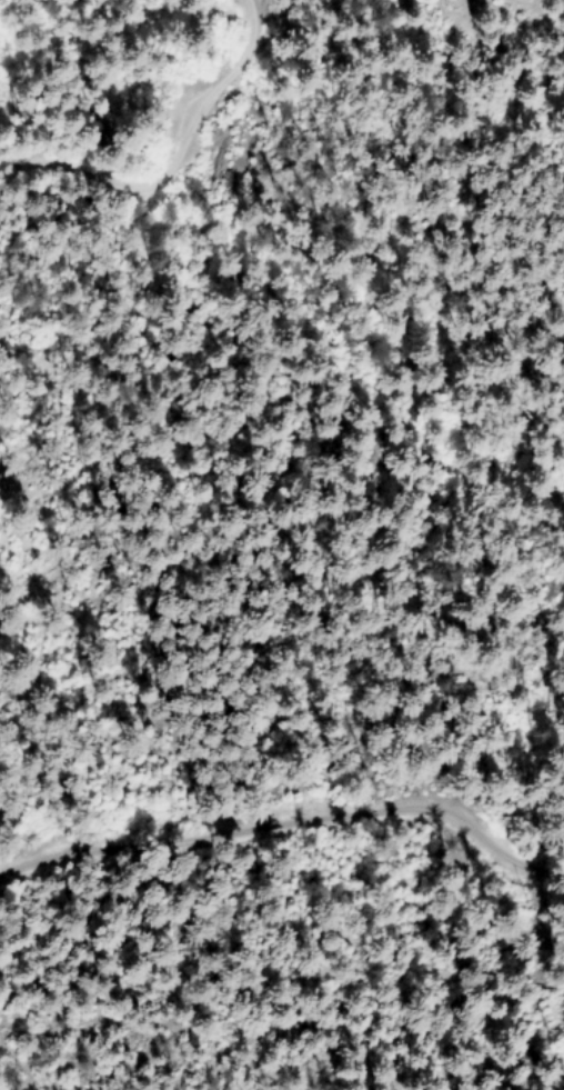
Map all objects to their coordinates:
road: (282, 773)

